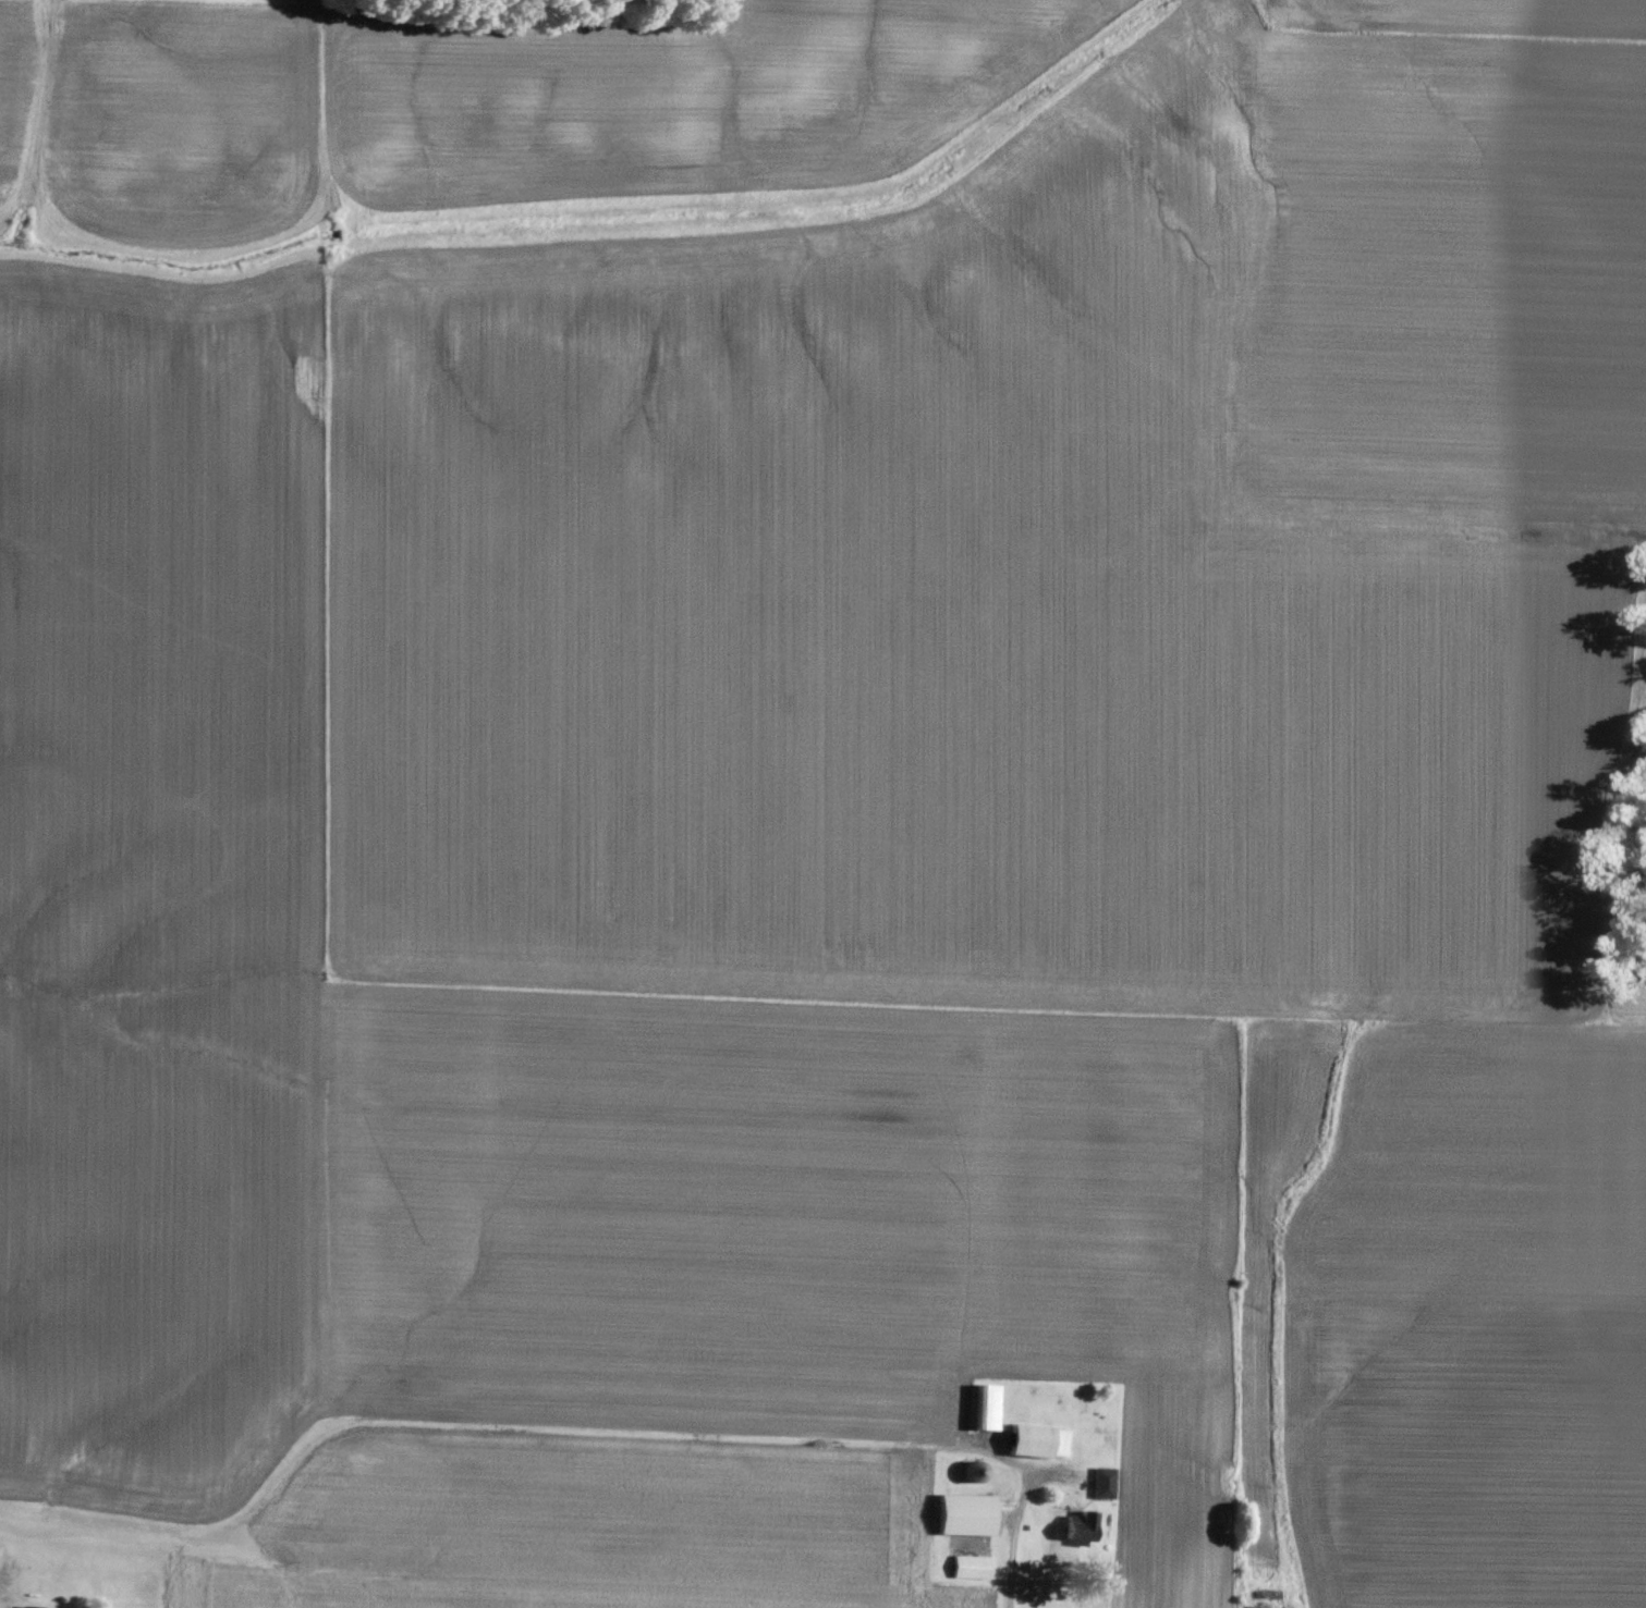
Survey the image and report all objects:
building: (1039, 1441)
building: (1104, 1483)
building: (966, 1515)
building: (1082, 1526)
road: (1014, 1538)
building: (971, 1568)
building: (32, 1607)
building: (1251, 1607)

